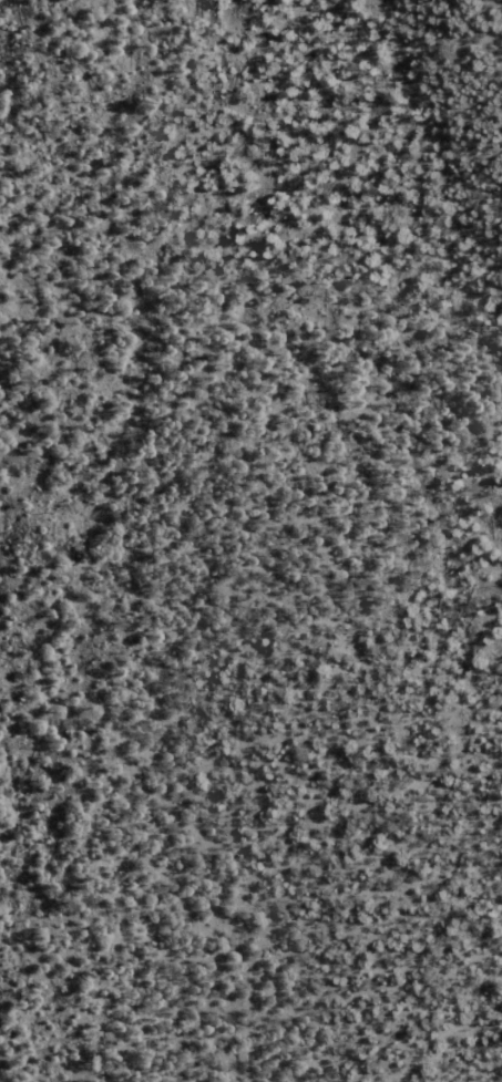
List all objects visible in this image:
road: (258, 91)

